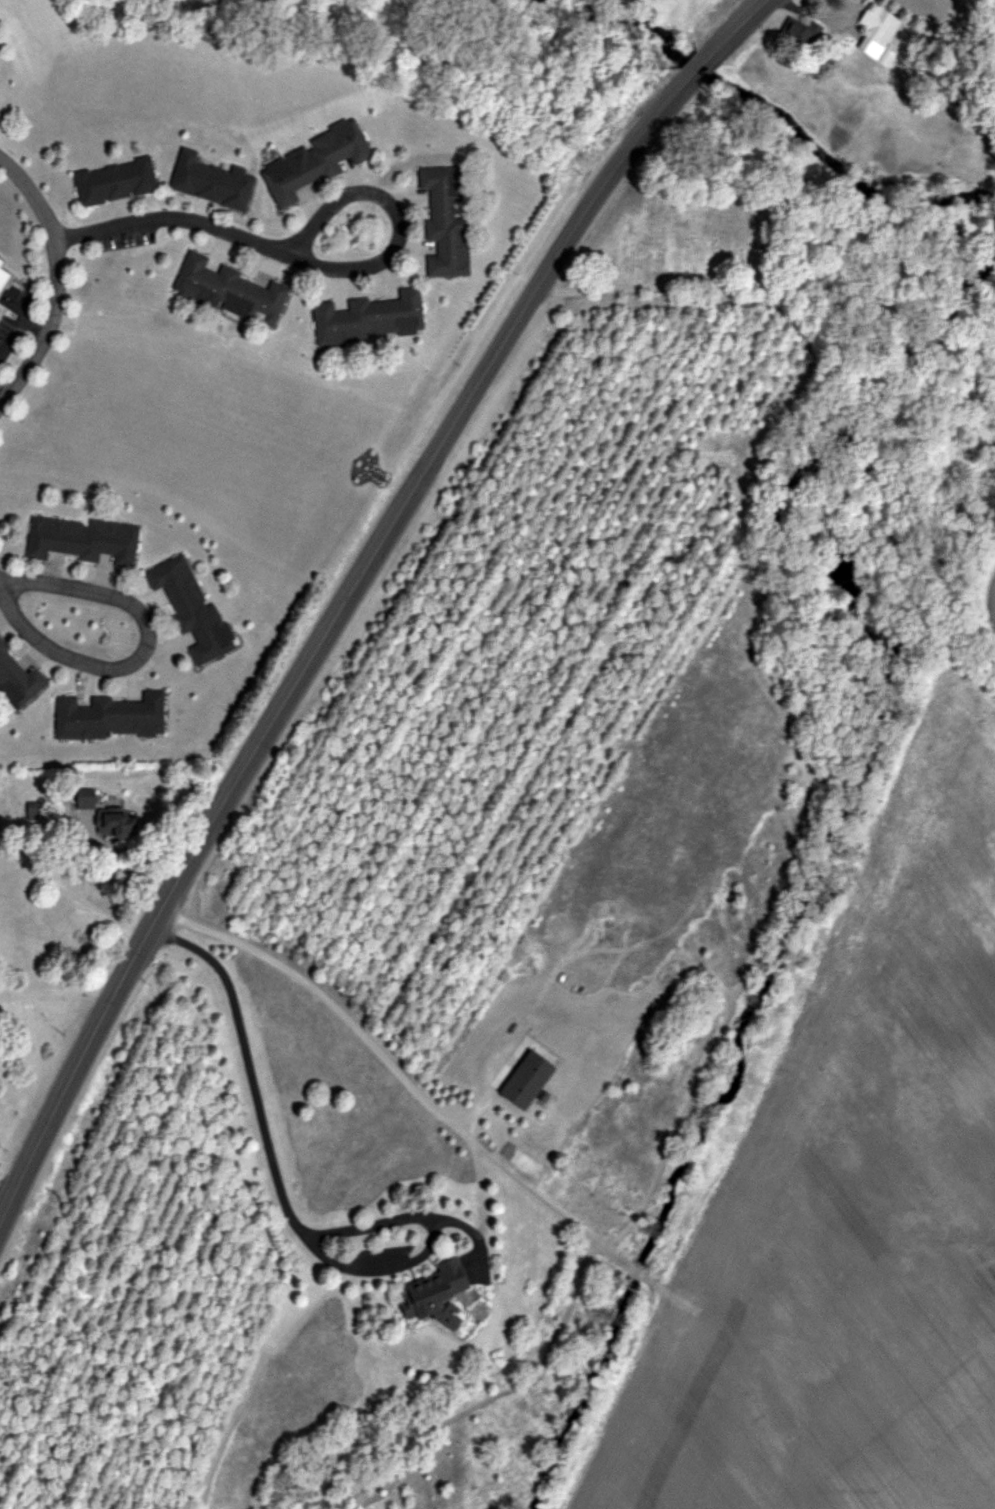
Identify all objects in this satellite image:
building: (803, 28)
building: (879, 29)
building: (318, 161)
building: (117, 180)
building: (212, 180)
road: (379, 191)
road: (172, 217)
building: (448, 221)
park: (674, 240)
road: (55, 279)
building: (232, 288)
building: (370, 316)
building: (84, 538)
road: (354, 586)
building: (192, 607)
road: (145, 647)
building: (17, 679)
building: (111, 716)
building: (87, 797)
building: (119, 822)
road: (364, 1037)
building: (531, 1079)
road: (269, 1165)
road: (2, 1202)
building: (437, 1290)

